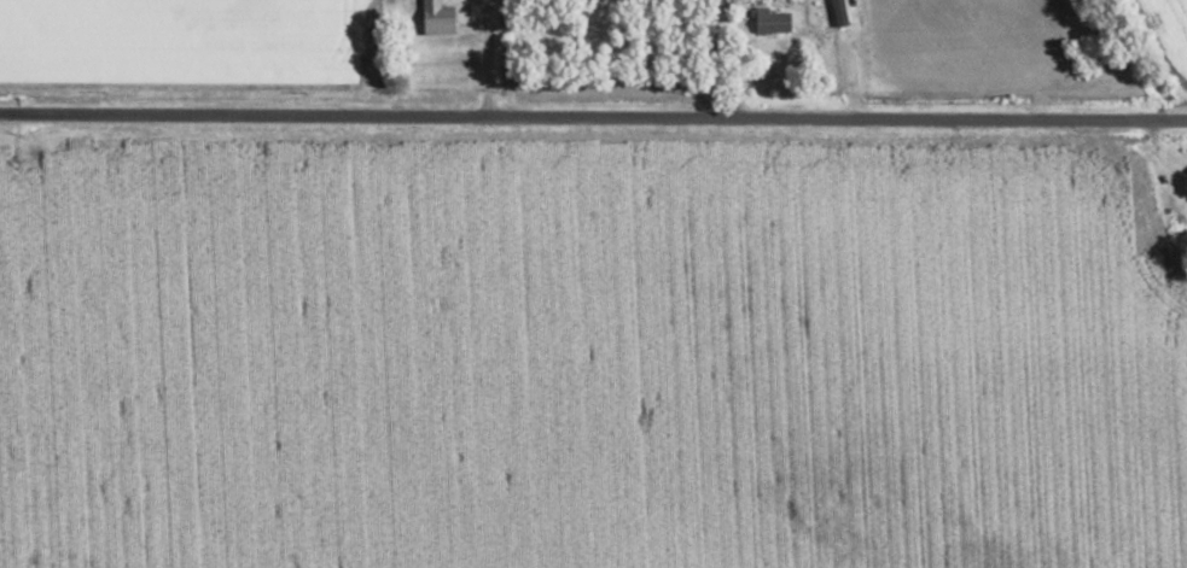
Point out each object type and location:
building: (839, 12)
building: (435, 16)
building: (770, 19)
road: (489, 59)
road: (593, 118)

